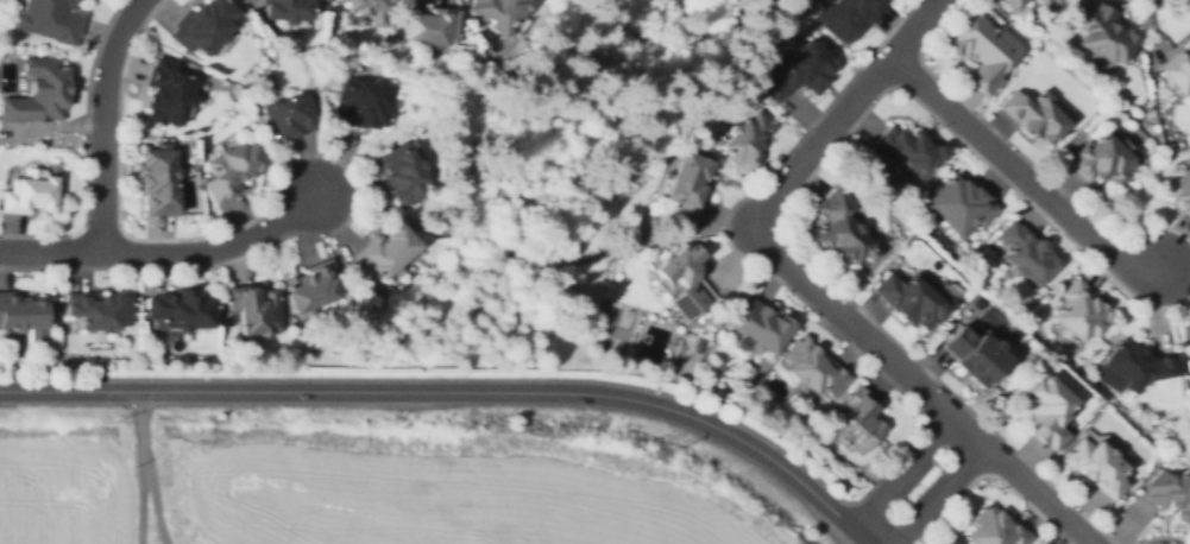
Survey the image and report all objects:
building: (1037, 1)
building: (1041, 1)
building: (1016, 2)
road: (147, 4)
building: (285, 8)
building: (367, 8)
building: (499, 11)
building: (845, 14)
building: (49, 18)
building: (202, 25)
building: (432, 25)
building: (1106, 32)
building: (984, 51)
building: (798, 72)
building: (1179, 72)
building: (164, 95)
building: (36, 96)
building: (364, 102)
road: (845, 112)
building: (1035, 115)
building: (288, 118)
road: (101, 122)
building: (745, 139)
building: (906, 150)
road: (84, 151)
road: (1019, 153)
road: (298, 154)
building: (1101, 160)
building: (233, 170)
road: (1019, 173)
building: (403, 176)
road: (805, 178)
building: (158, 182)
building: (686, 186)
building: (1180, 189)
building: (33, 194)
building: (962, 204)
building: (839, 227)
road: (97, 232)
building: (385, 253)
building: (1028, 253)
road: (163, 254)
road: (528, 267)
building: (681, 282)
building: (311, 291)
building: (912, 301)
building: (256, 309)
building: (100, 310)
building: (19, 311)
building: (1079, 312)
building: (182, 314)
road: (850, 323)
building: (761, 324)
park: (999, 327)
park: (616, 331)
building: (976, 355)
building: (1140, 363)
building: (814, 367)
building: (1189, 380)
road: (457, 393)
building: (1047, 411)
building: (858, 420)
road: (775, 445)
building: (1097, 467)
road: (138, 468)
road: (900, 473)
road: (989, 473)
road: (1021, 480)
crop: (65, 491)
building: (1171, 493)
road: (942, 496)
road: (151, 498)
crop: (439, 499)
building: (996, 529)
road: (1161, 536)

